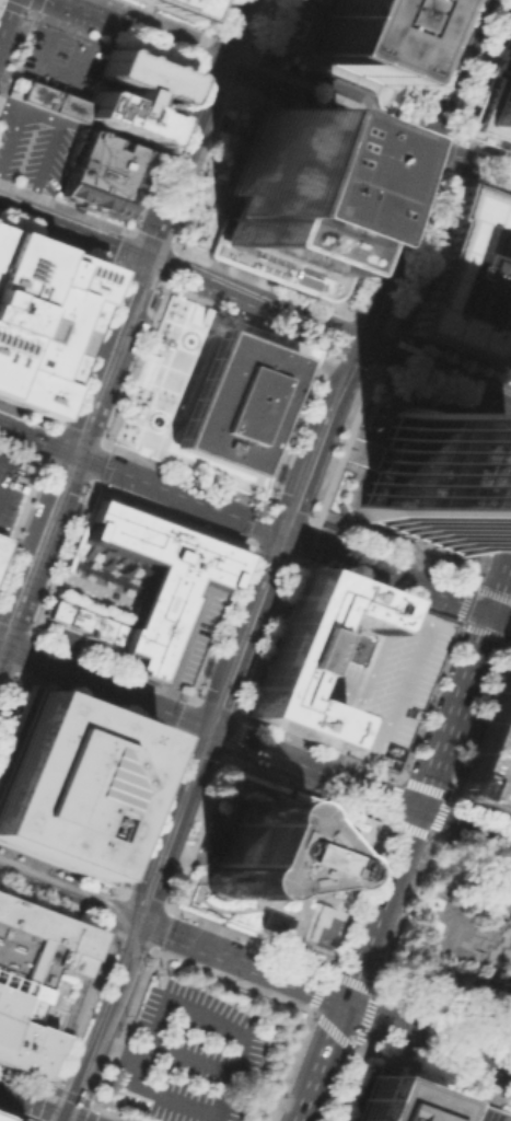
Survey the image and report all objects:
building: (172, 7)
road: (303, 9)
road: (5, 15)
road: (154, 19)
road: (209, 19)
fountain: (297, 26)
road: (260, 27)
road: (279, 31)
road: (230, 33)
road: (429, 33)
building: (363, 34)
road: (111, 43)
road: (405, 45)
road: (225, 47)
road: (14, 53)
parking lot: (59, 60)
road: (437, 60)
road: (42, 65)
traffic signals: (219, 66)
road: (485, 68)
road: (333, 70)
road: (240, 73)
road: (244, 73)
road: (462, 73)
road: (197, 76)
road: (350, 89)
road: (332, 92)
building: (131, 95)
building: (48, 100)
railway: (237, 100)
road: (10, 105)
building: (498, 106)
road: (55, 124)
road: (320, 124)
road: (454, 135)
road: (407, 138)
parking lot: (33, 145)
road: (485, 145)
traffic signals: (434, 148)
road: (159, 151)
road: (473, 161)
road: (181, 163)
road: (423, 164)
building: (100, 171)
road: (208, 171)
road: (479, 185)
building: (290, 199)
road: (63, 205)
road: (59, 228)
road: (373, 233)
road: (152, 239)
road: (397, 245)
road: (57, 246)
road: (416, 250)
road: (131, 256)
parking lot: (219, 261)
traffic signals: (144, 262)
road: (158, 265)
road: (171, 268)
road: (262, 280)
building: (469, 281)
road: (253, 302)
railway: (341, 304)
building: (42, 319)
road: (364, 319)
road: (246, 320)
railway: (127, 330)
road: (336, 331)
road: (348, 338)
traffic signals: (360, 344)
road: (85, 346)
road: (369, 346)
road: (378, 347)
road: (448, 350)
road: (107, 357)
road: (350, 359)
road: (133, 365)
road: (429, 369)
road: (441, 393)
building: (213, 394)
road: (496, 394)
flagpole: (155, 401)
flagpole: (162, 403)
flagpole: (170, 405)
road: (438, 405)
road: (28, 413)
road: (501, 417)
road: (380, 420)
road: (297, 427)
road: (80, 432)
road: (23, 434)
road: (3, 437)
road: (323, 438)
road: (48, 442)
road: (341, 442)
traffic signals: (71, 452)
road: (72, 452)
road: (20, 453)
road: (97, 462)
road: (65, 470)
road: (66, 472)
road: (184, 472)
road: (4, 473)
road: (138, 477)
building: (434, 479)
parking lot: (11, 486)
road: (355, 487)
road: (502, 496)
road: (495, 500)
road: (502, 507)
road: (218, 508)
road: (171, 512)
road: (20, 517)
road: (311, 520)
road: (362, 521)
road: (271, 528)
road: (491, 533)
traffic signals: (288, 534)
road: (295, 538)
road: (398, 541)
building: (1, 542)
road: (391, 548)
road: (423, 550)
road: (274, 553)
road: (62, 557)
railway: (269, 560)
road: (28, 565)
road: (397, 576)
building: (160, 583)
road: (477, 586)
road: (501, 587)
road: (376, 590)
building: (57, 611)
traffic signals: (492, 612)
road: (501, 615)
road: (220, 621)
road: (418, 623)
building: (86, 624)
road: (191, 626)
road: (16, 627)
road: (477, 627)
road: (251, 631)
road: (267, 638)
road: (509, 638)
building: (111, 643)
road: (146, 645)
road: (25, 654)
road: (173, 656)
road: (107, 667)
building: (349, 667)
road: (121, 671)
road: (9, 672)
road: (174, 672)
road: (336, 686)
road: (164, 697)
road: (428, 697)
road: (9, 698)
road: (95, 705)
road: (213, 706)
road: (477, 715)
road: (179, 716)
road: (209, 727)
traffic signals: (214, 729)
road: (231, 737)
road: (318, 746)
road: (197, 747)
building: (491, 750)
parking lot: (491, 750)
road: (335, 761)
road: (409, 778)
building: (70, 782)
road: (303, 788)
road: (189, 794)
road: (204, 805)
road: (479, 805)
road: (418, 807)
traffic signals: (419, 807)
road: (143, 812)
road: (464, 824)
road: (194, 832)
road: (420, 832)
building: (208, 837)
road: (208, 837)
road: (471, 850)
building: (253, 853)
road: (433, 853)
road: (184, 858)
railway: (47, 867)
road: (57, 869)
road: (66, 877)
road: (116, 890)
road: (53, 891)
road: (151, 891)
road: (356, 892)
road: (402, 912)
road: (124, 916)
traffic signals: (140, 924)
road: (149, 927)
road: (452, 932)
road: (411, 935)
road: (247, 937)
park: (457, 939)
fountain: (496, 940)
railway: (132, 956)
road: (104, 962)
road: (156, 964)
road: (386, 976)
building: (32, 978)
road: (363, 984)
road: (502, 985)
road: (334, 997)
road: (370, 999)
road: (160, 1001)
road: (286, 1001)
traffic signals: (345, 1002)
road: (313, 1003)
road: (442, 1016)
road: (103, 1020)
road: (121, 1027)
road: (360, 1030)
road: (396, 1045)
road: (114, 1055)
parking lot: (185, 1056)
road: (188, 1058)
road: (322, 1061)
road: (432, 1065)
road: (60, 1070)
road: (492, 1082)
road: (339, 1086)
building: (410, 1100)
road: (33, 1103)
road: (33, 1109)
road: (89, 1113)
road: (112, 1113)
traffic signals: (67, 1117)
building: (4, 1118)
road: (221, 1118)
road: (66, 1119)
road: (71, 1119)

